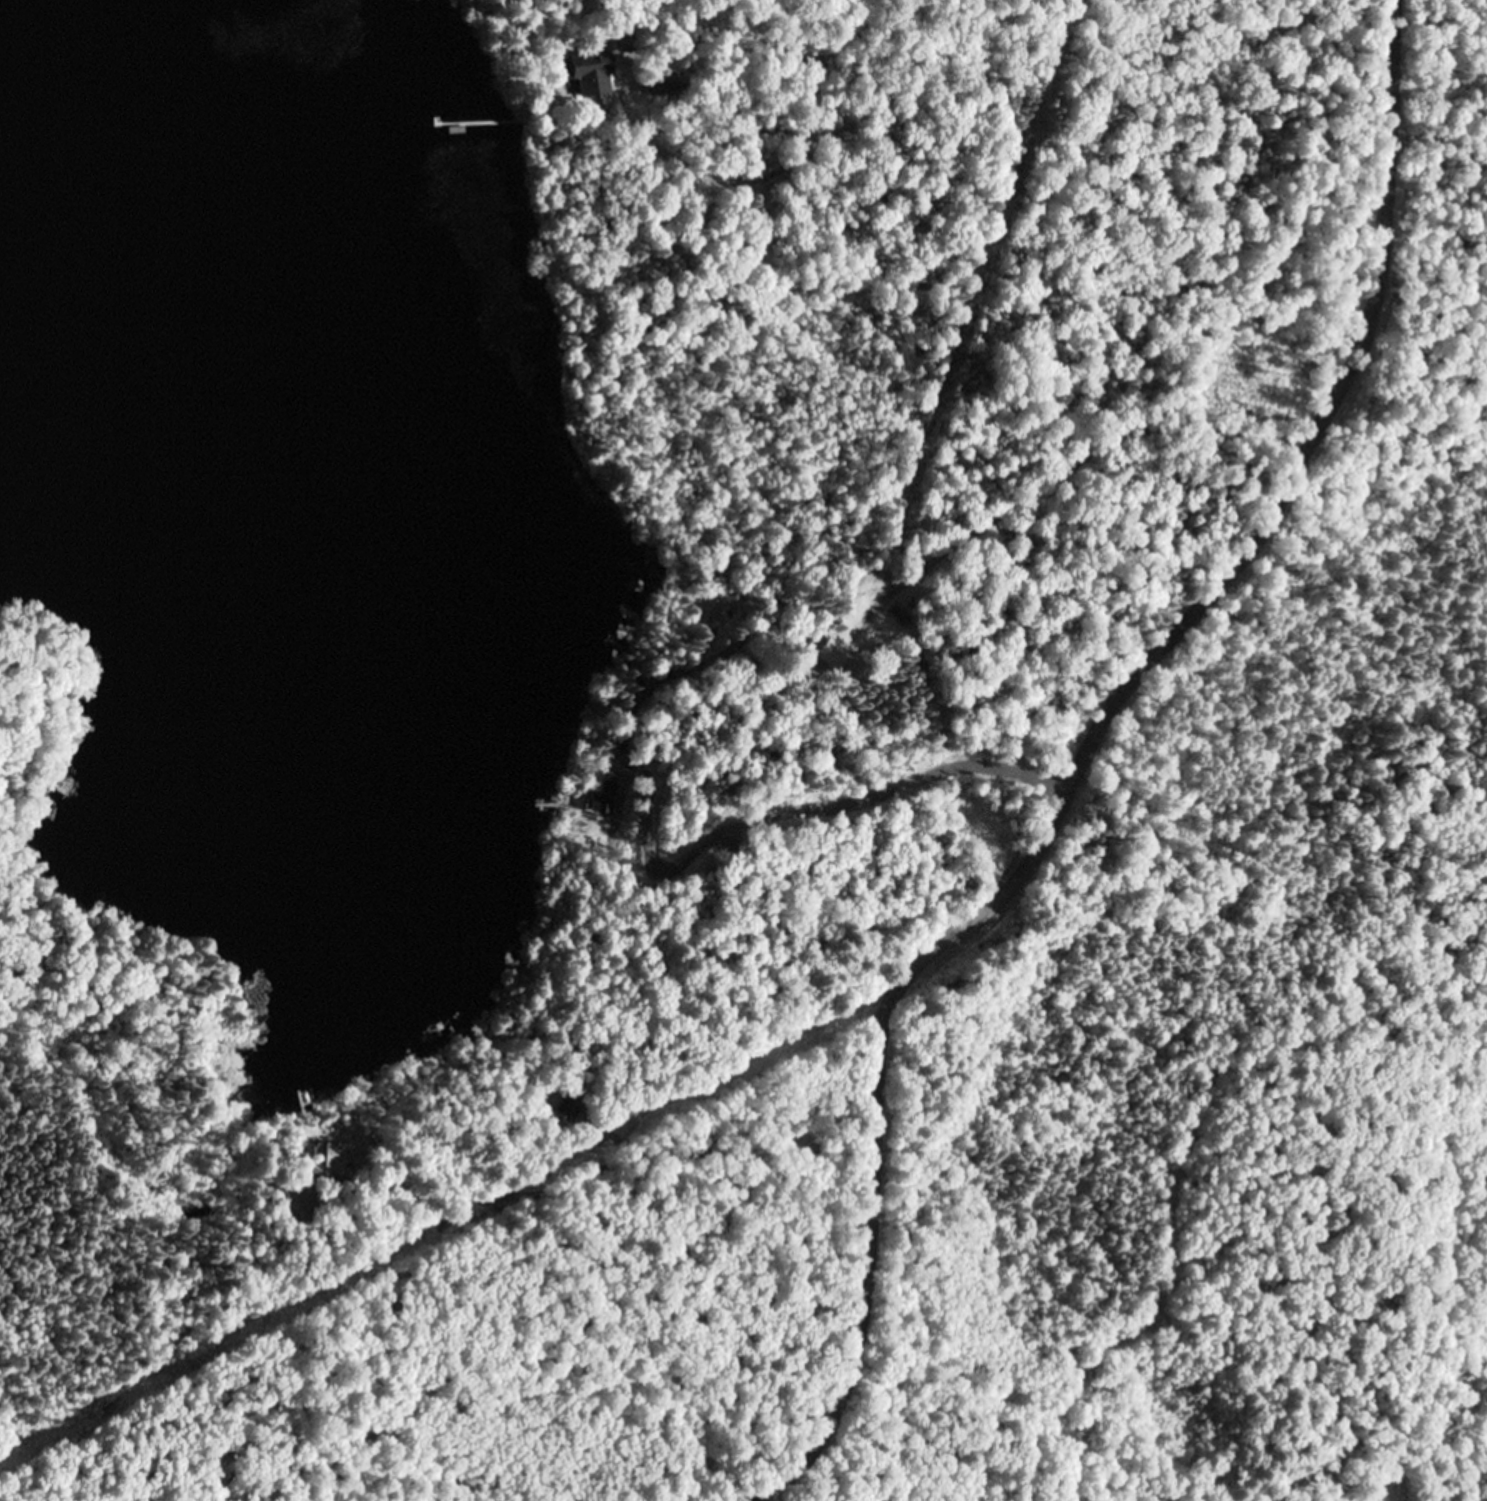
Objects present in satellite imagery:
road: (824, 27)
road: (933, 547)
road: (699, 736)
road: (1065, 791)
road: (326, 1148)
road: (588, 1198)

